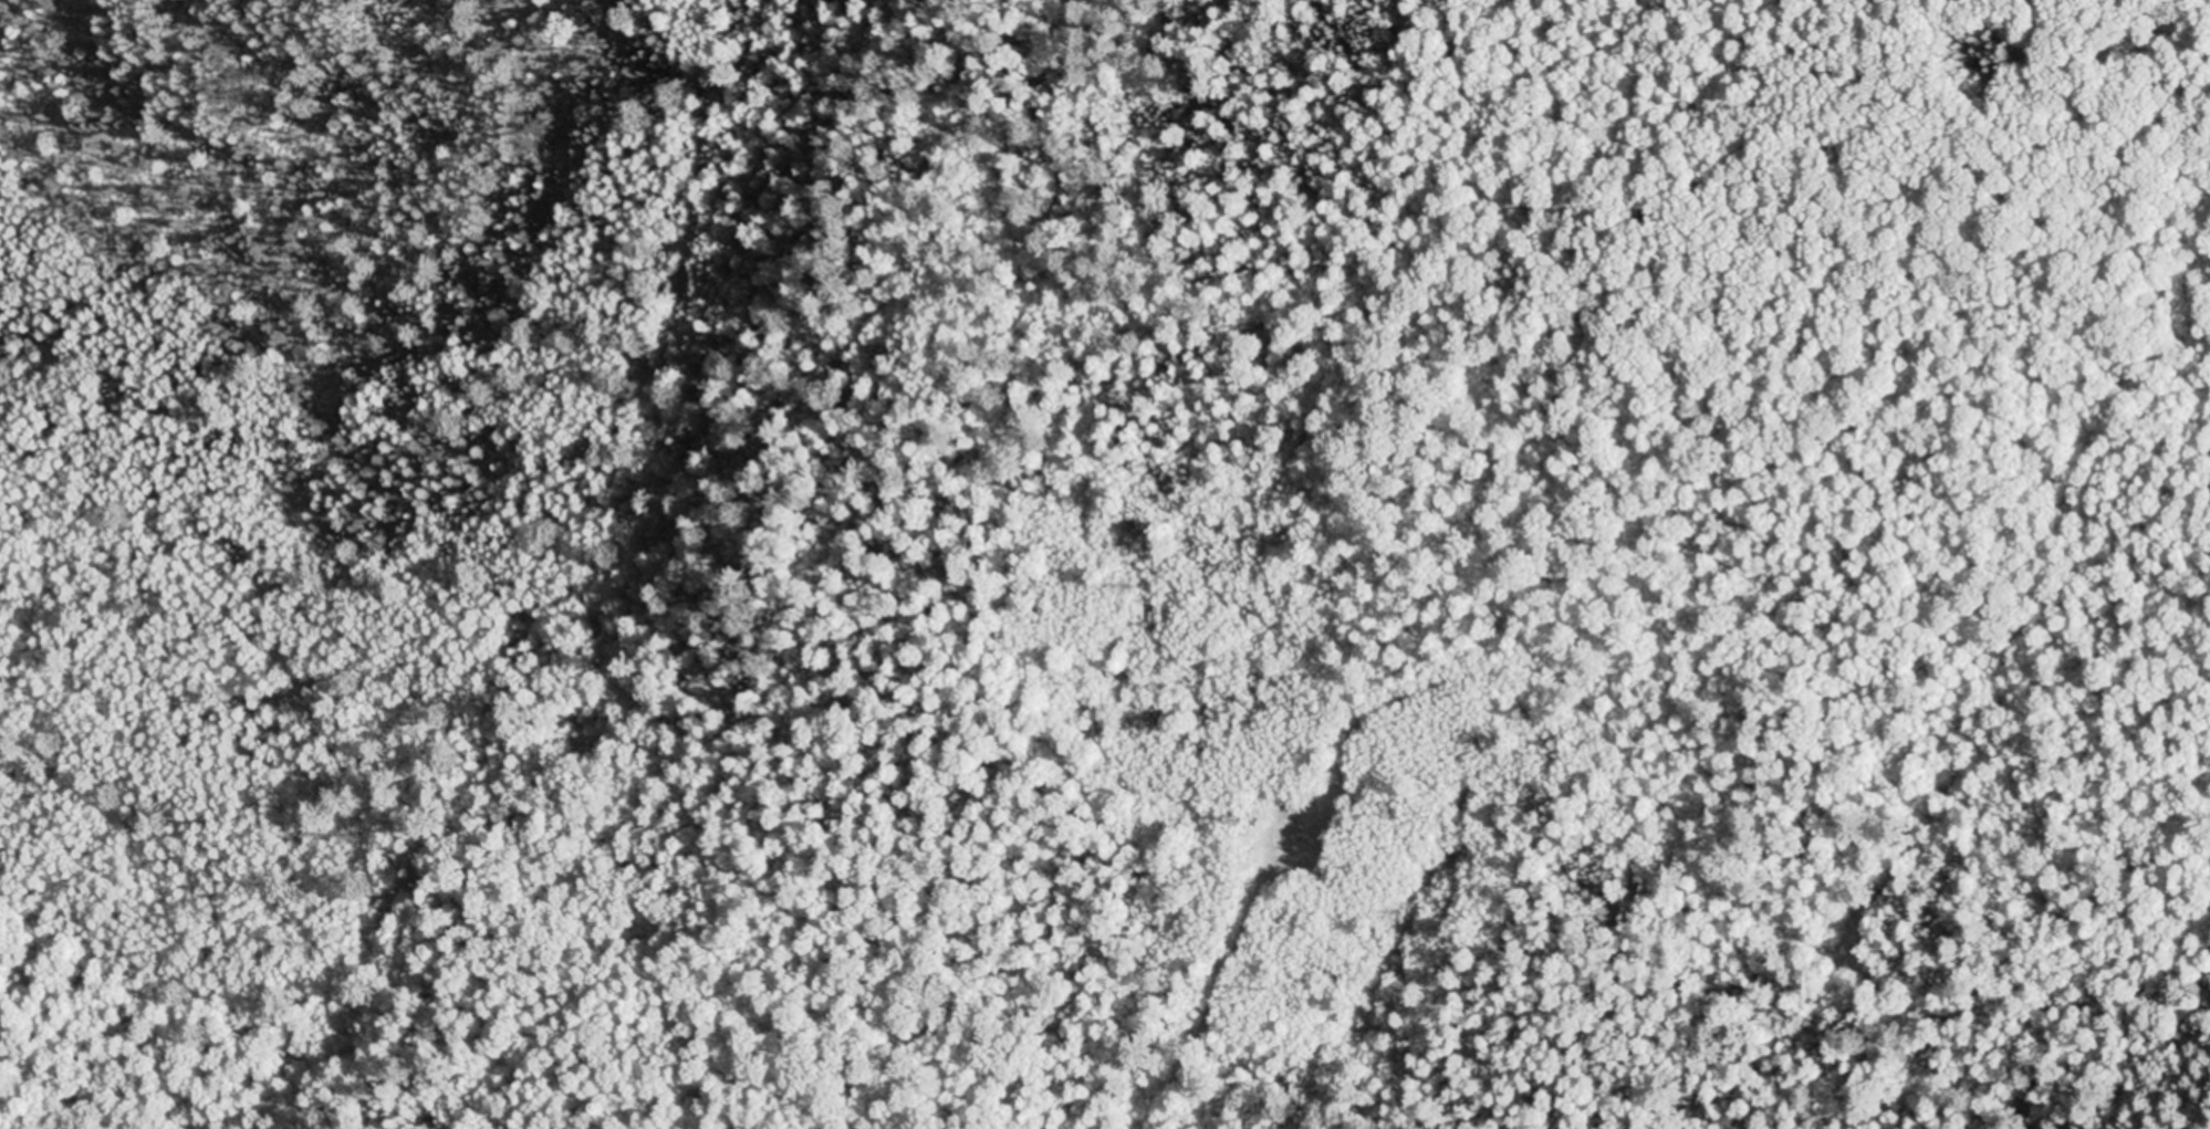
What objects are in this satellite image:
road: (1309, 834)

